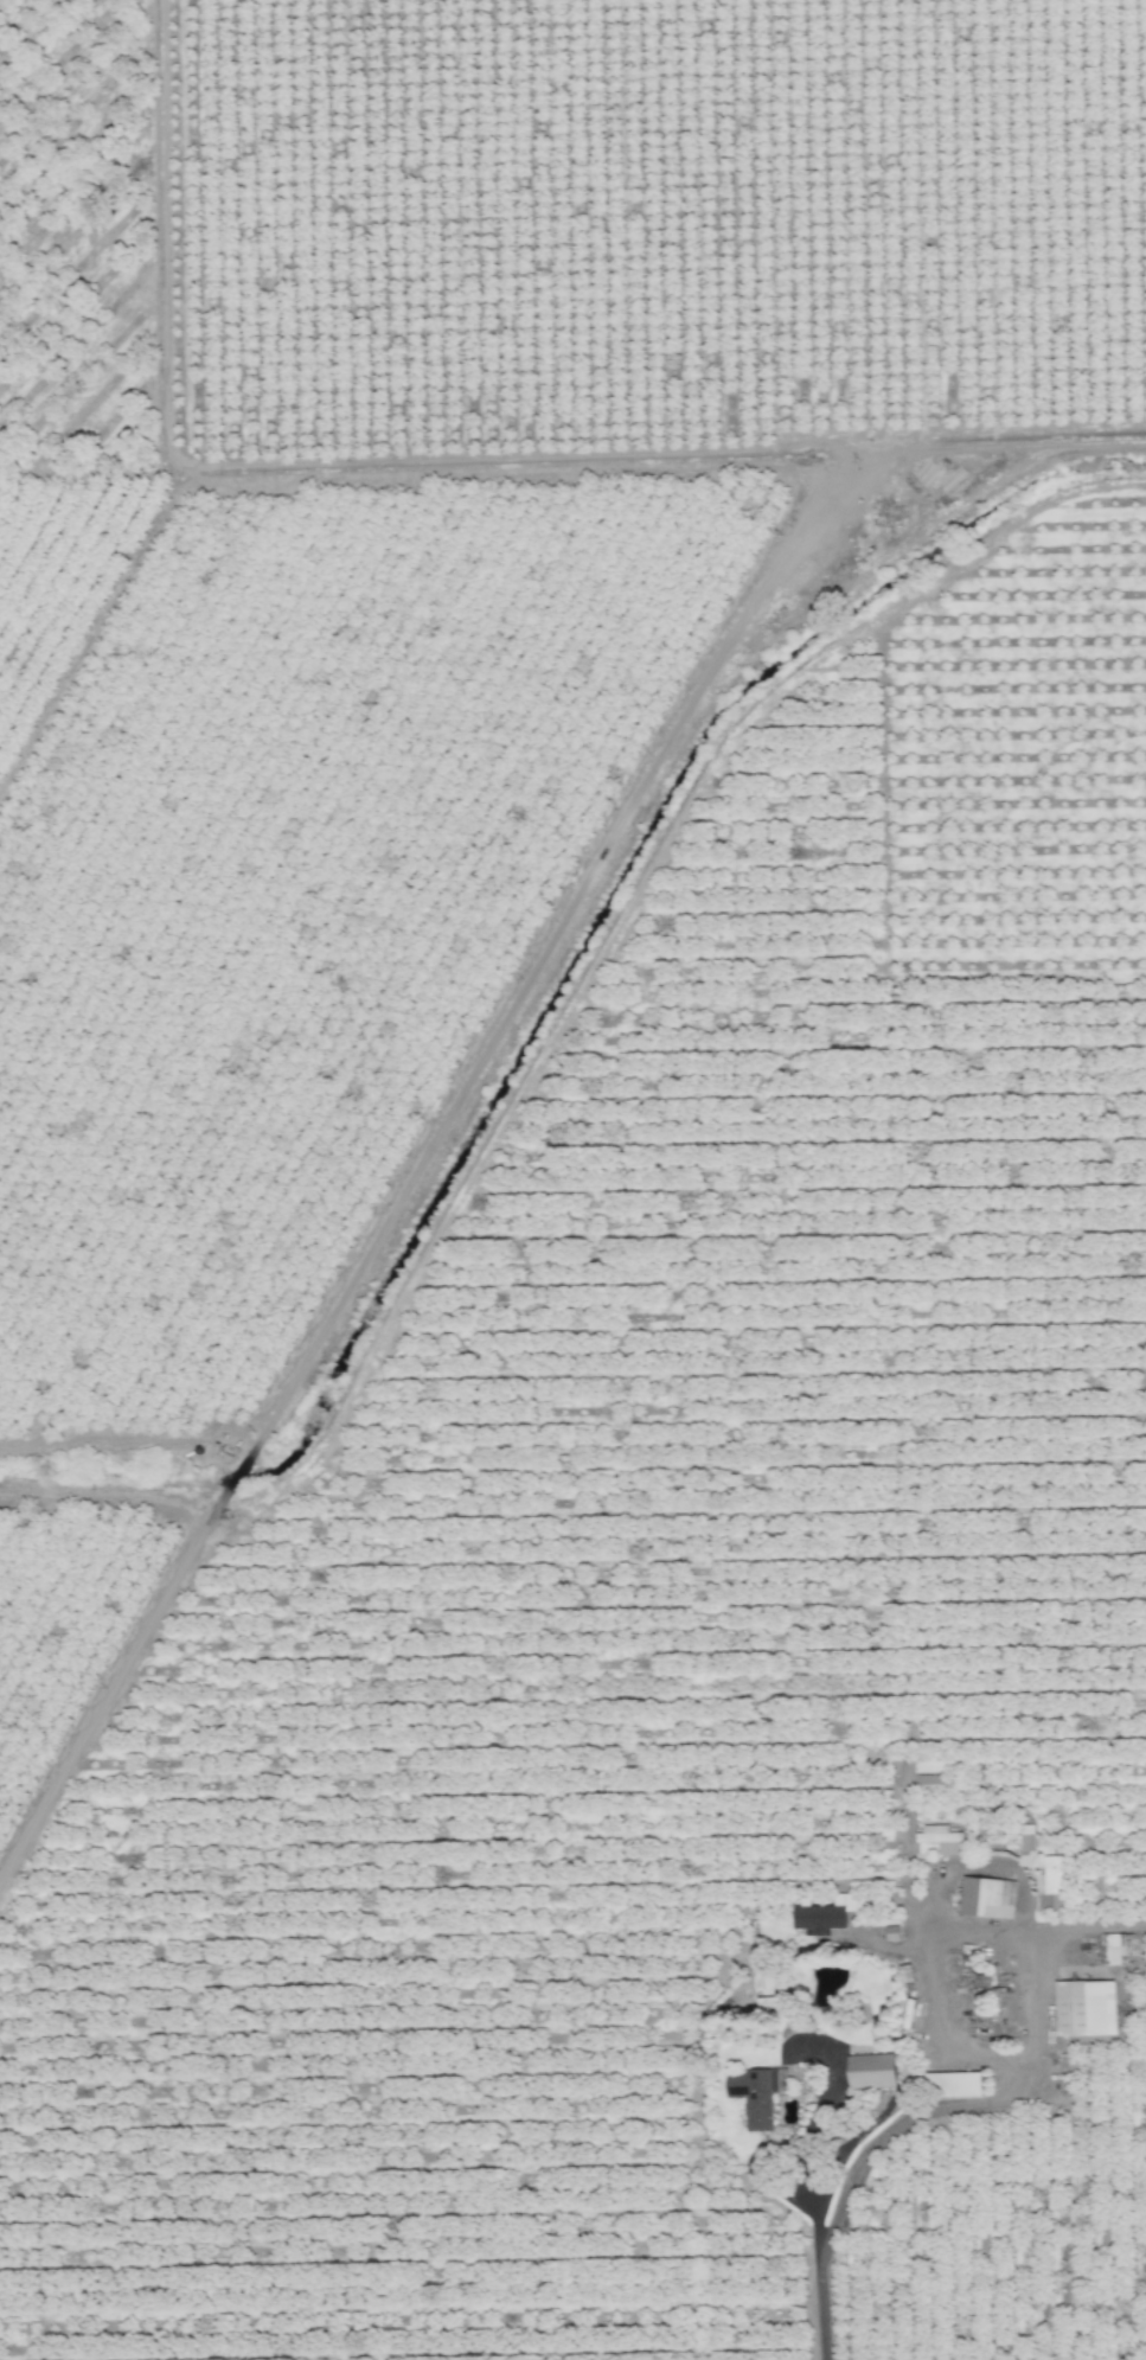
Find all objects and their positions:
building: (936, 1837)
building: (1024, 1846)
building: (1049, 1883)
building: (985, 1897)
building: (812, 1917)
building: (1087, 2004)
building: (864, 2070)
building: (950, 2084)
building: (755, 2096)
road: (877, 2123)

